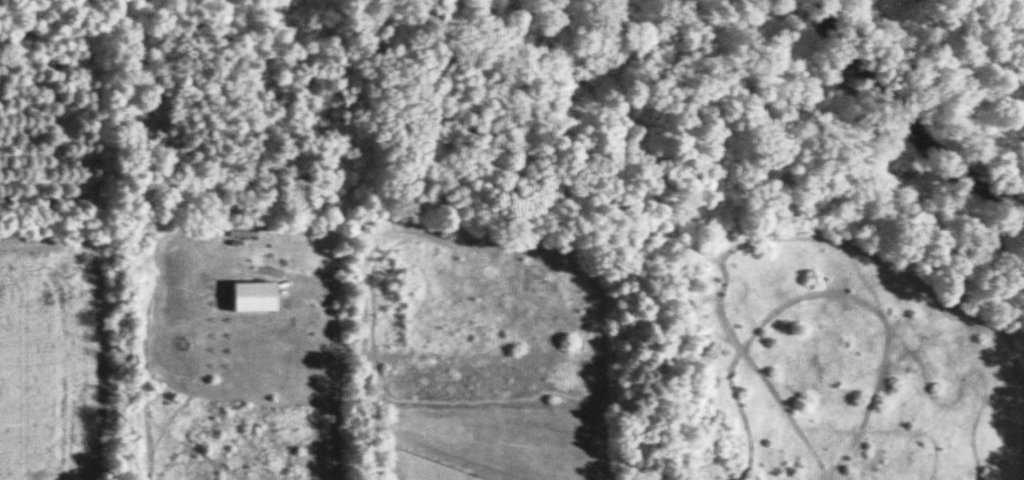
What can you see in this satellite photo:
crop: (46, 358)

